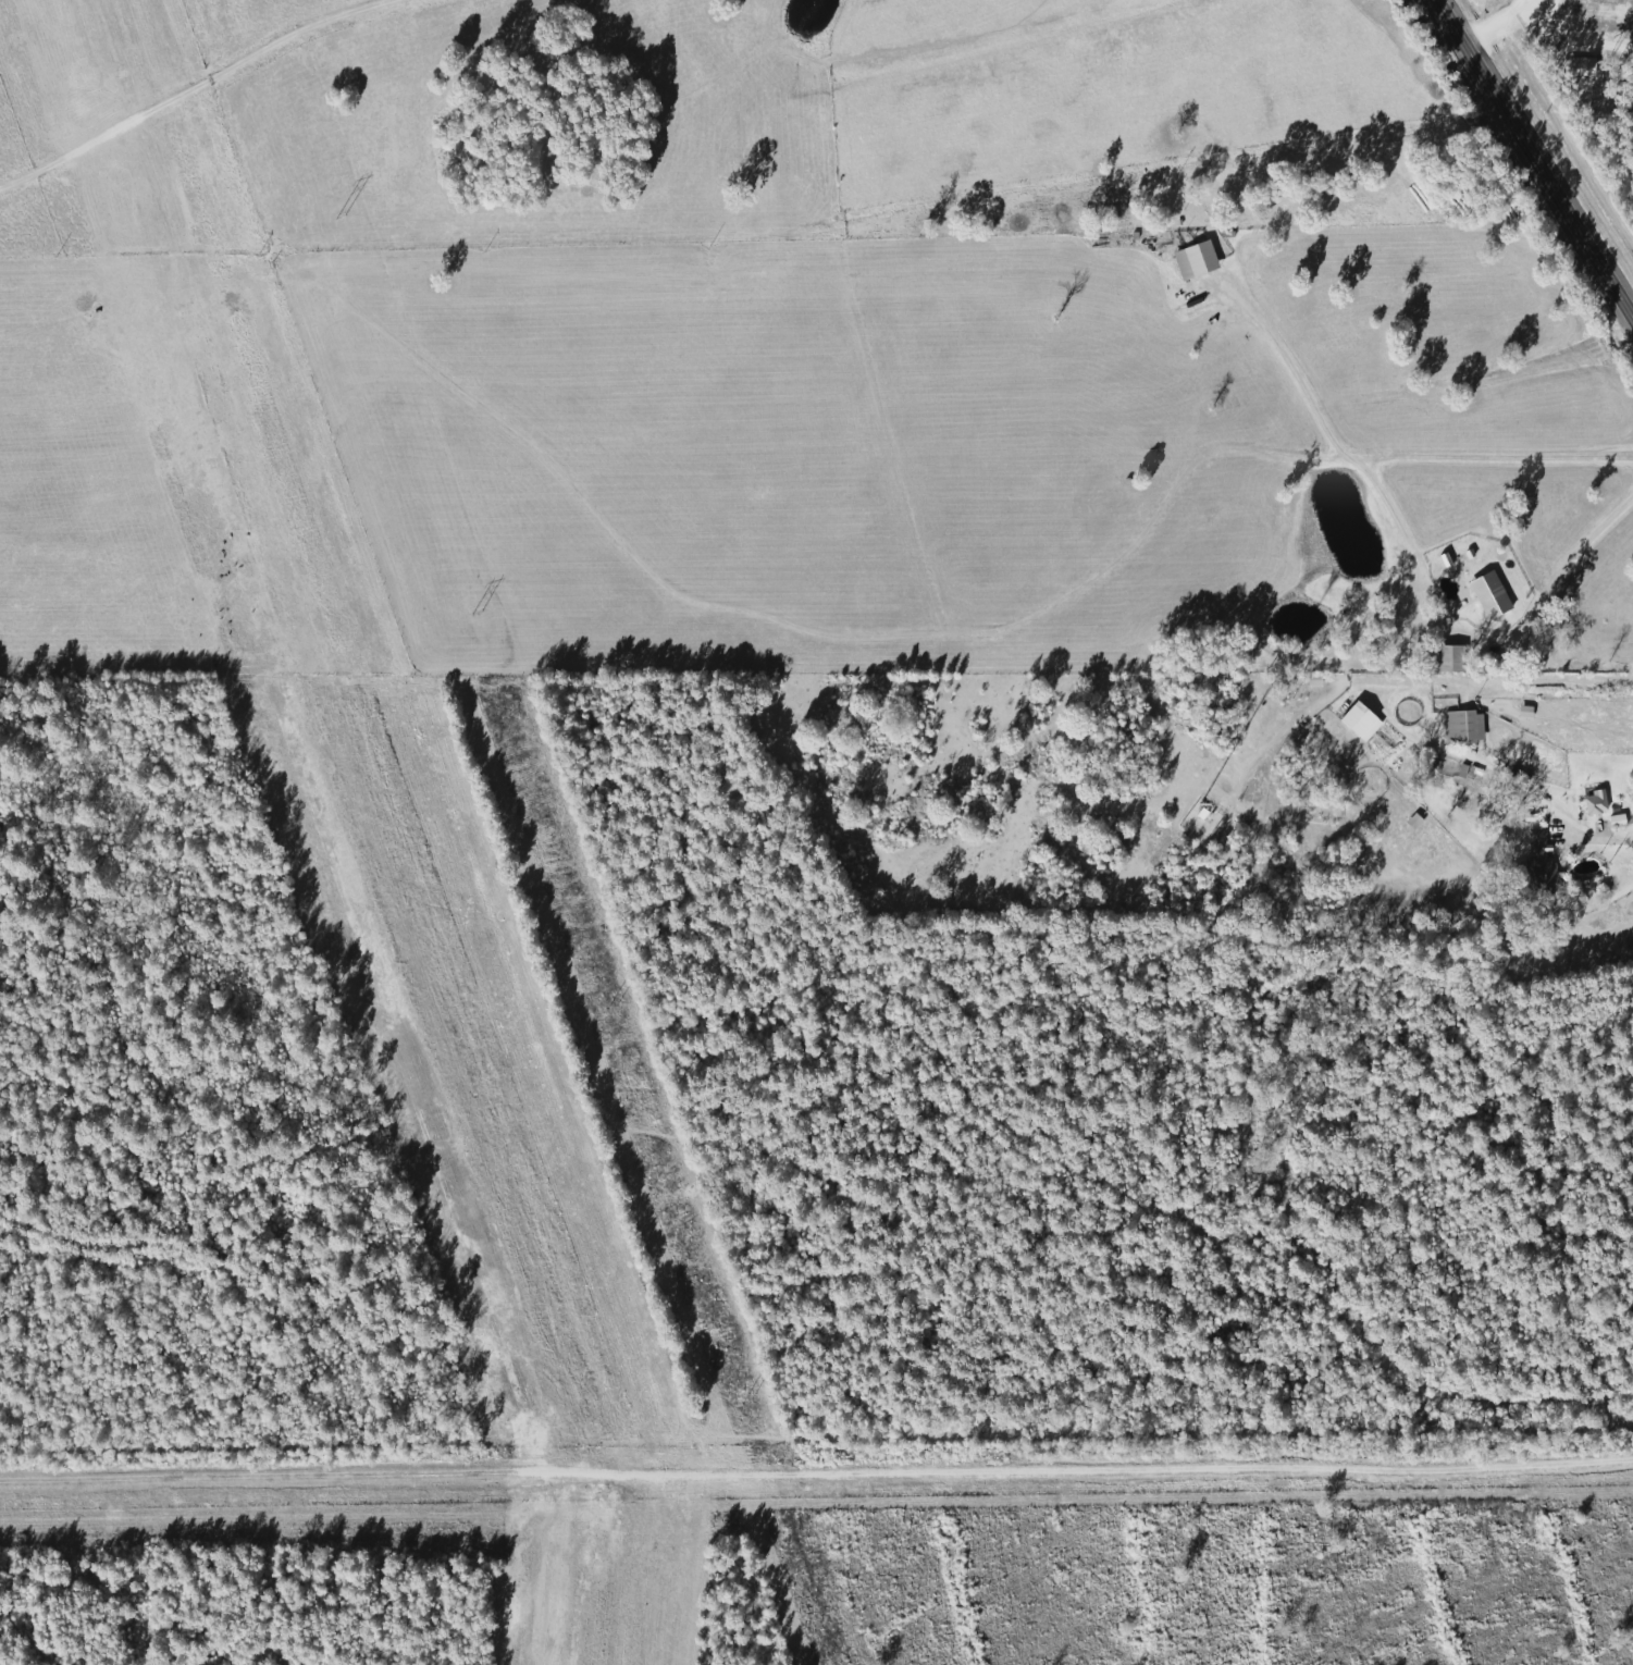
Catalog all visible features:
road: (193, 88)
road: (1529, 164)
power tower: (342, 215)
road: (1289, 375)
road: (1399, 534)
building: (1492, 596)
power tower: (478, 613)
building: (1451, 659)
building: (1362, 721)
building: (1464, 728)
building: (1596, 803)
road: (1596, 850)
building: (1543, 864)
power tower: (611, 1007)
power tower: (750, 1401)

